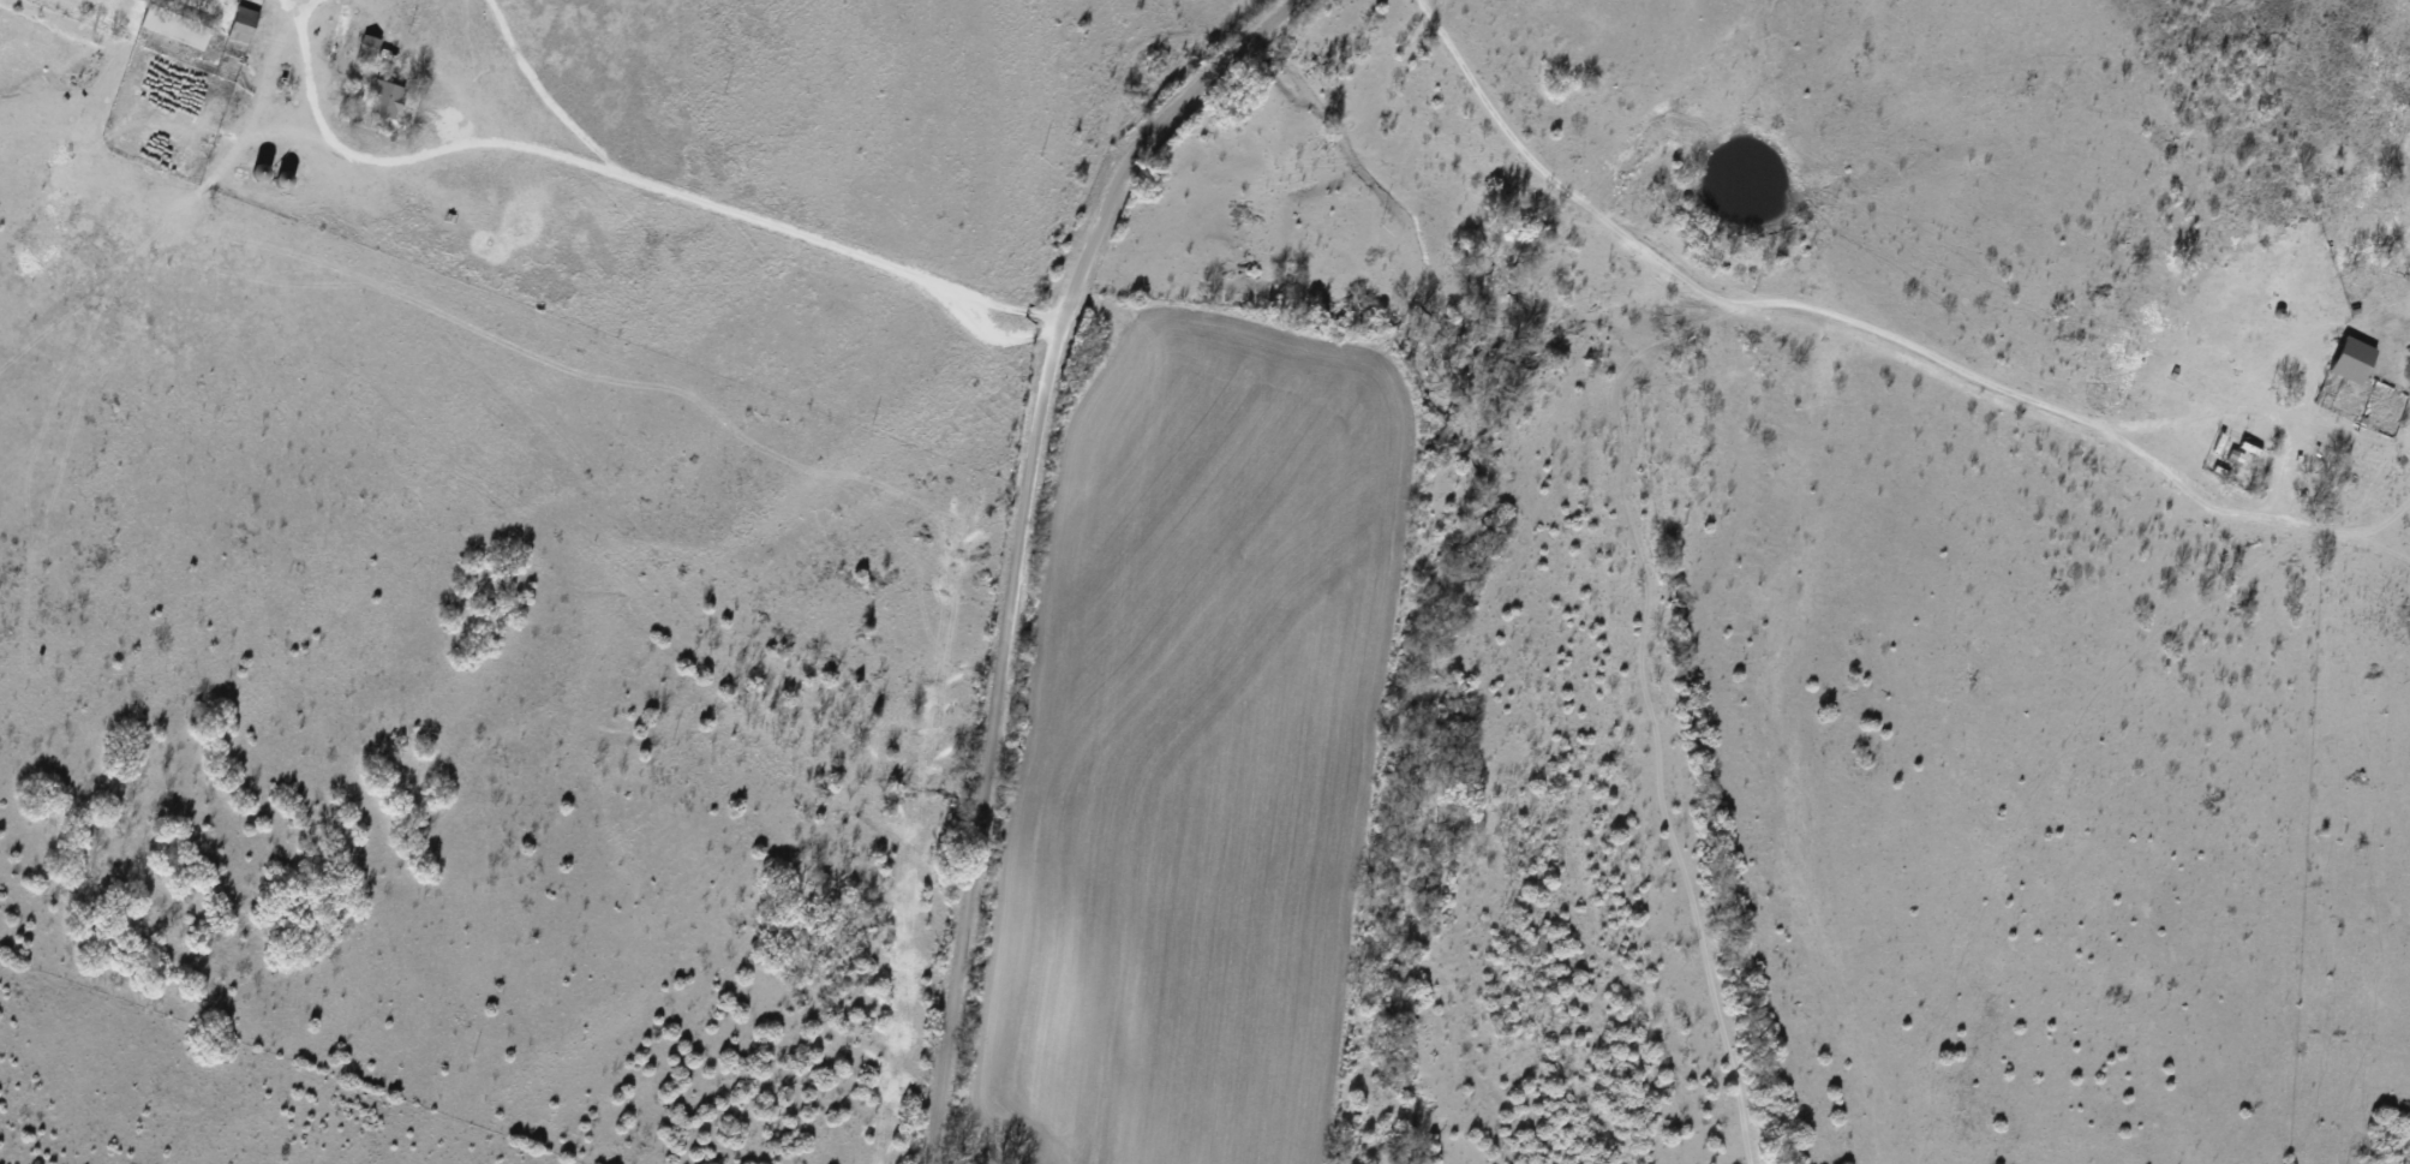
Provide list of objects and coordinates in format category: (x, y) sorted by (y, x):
building: (243, 24)
building: (174, 26)
building: (366, 49)
building: (385, 99)
road: (1523, 144)
building: (259, 172)
building: (283, 179)
road: (614, 203)
road: (1712, 317)
building: (2354, 359)
road: (1053, 538)

